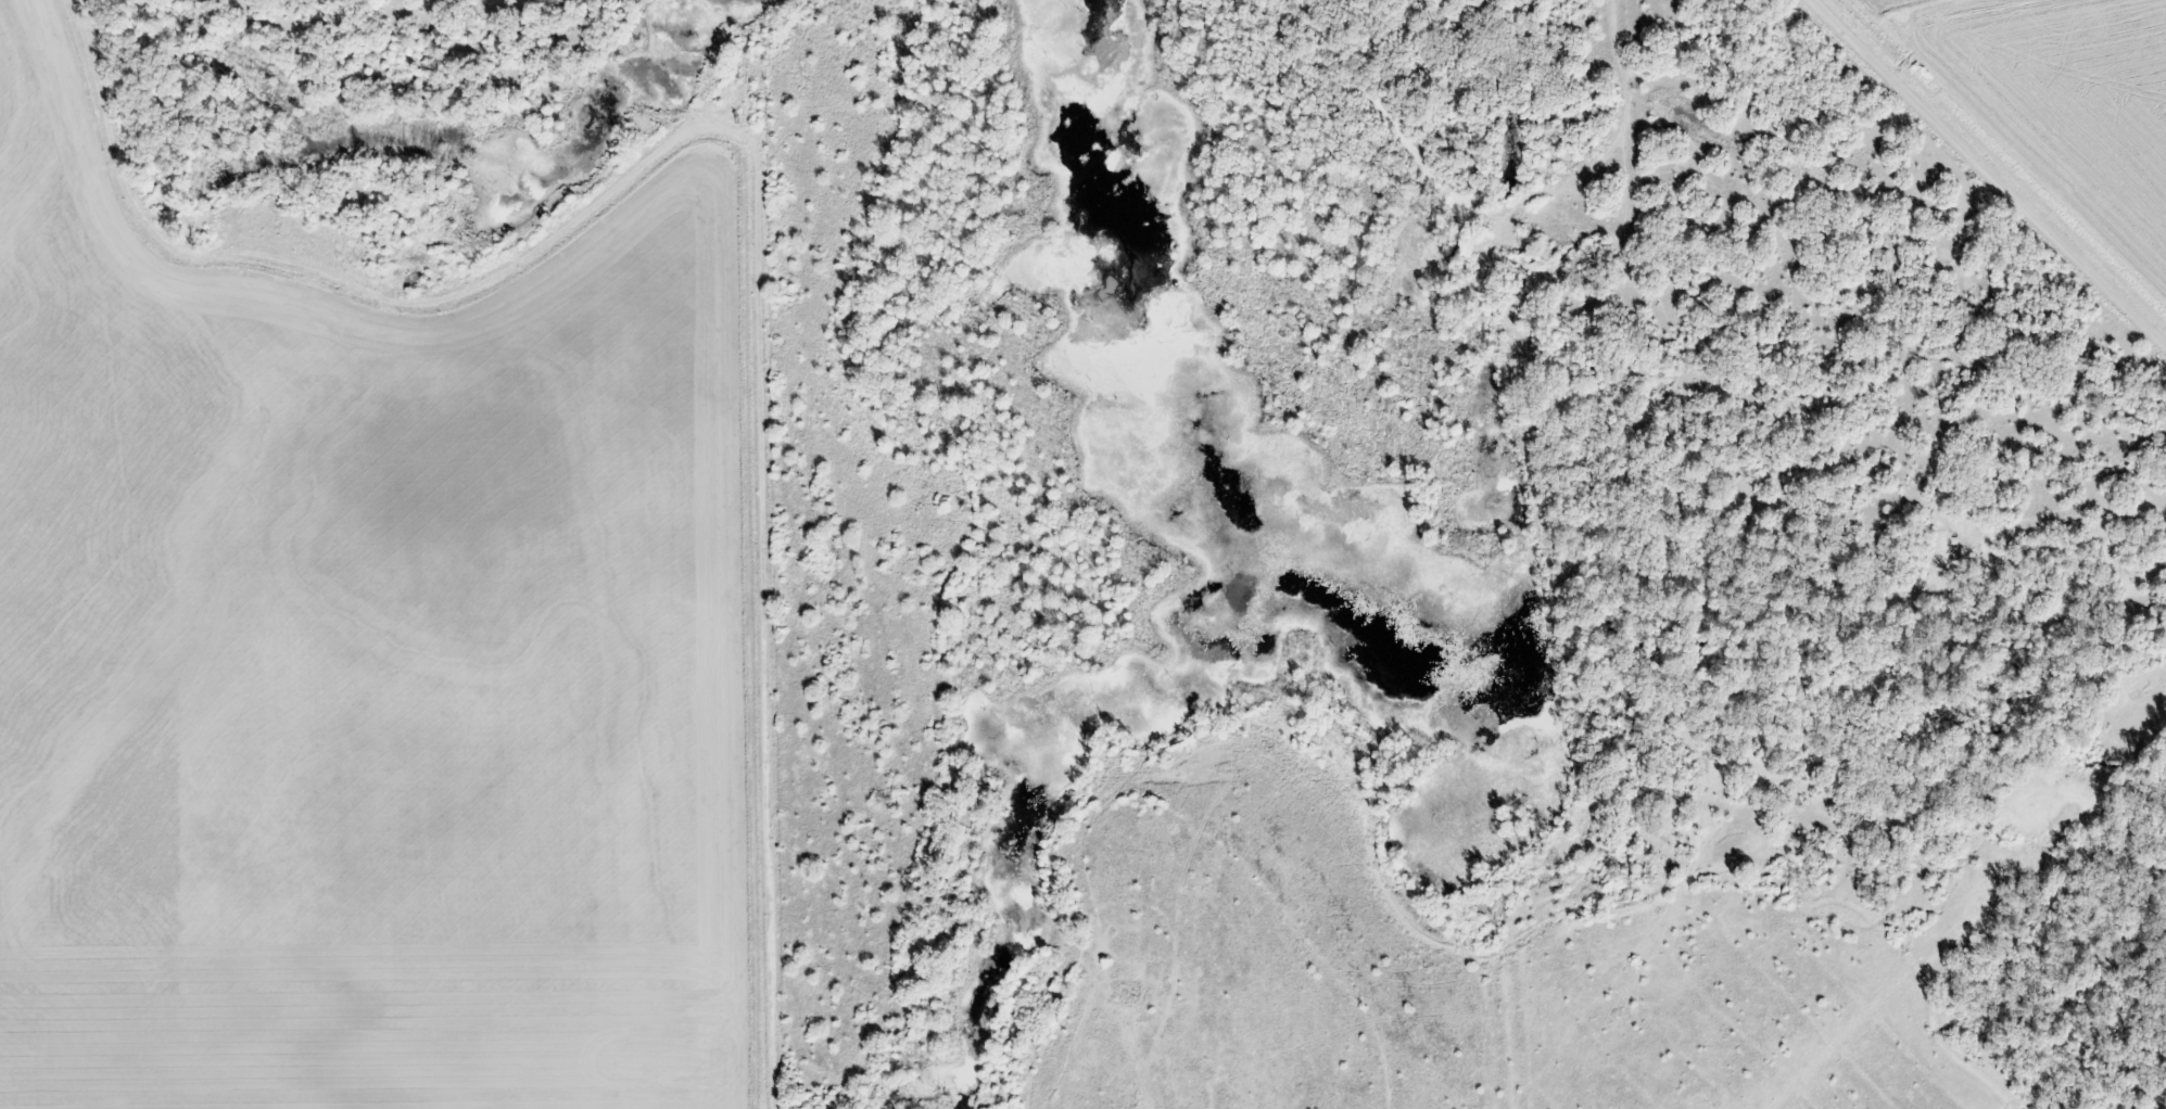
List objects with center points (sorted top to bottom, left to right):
road: (2009, 155)

